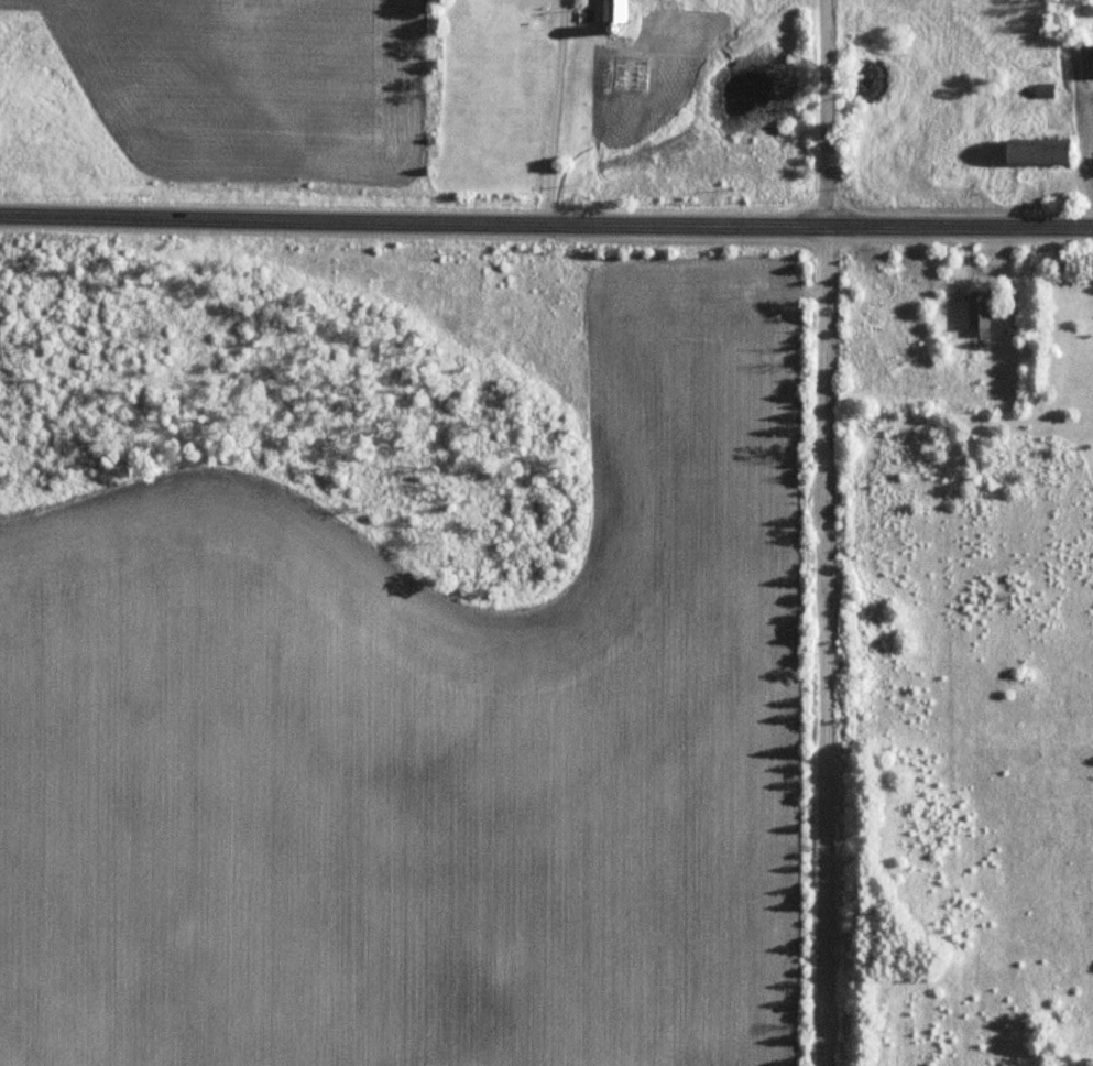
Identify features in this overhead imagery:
building: (604, 11)
building: (1086, 62)
building: (1043, 89)
road: (822, 111)
building: (1036, 153)
road: (546, 219)
building: (979, 313)
road: (826, 644)

